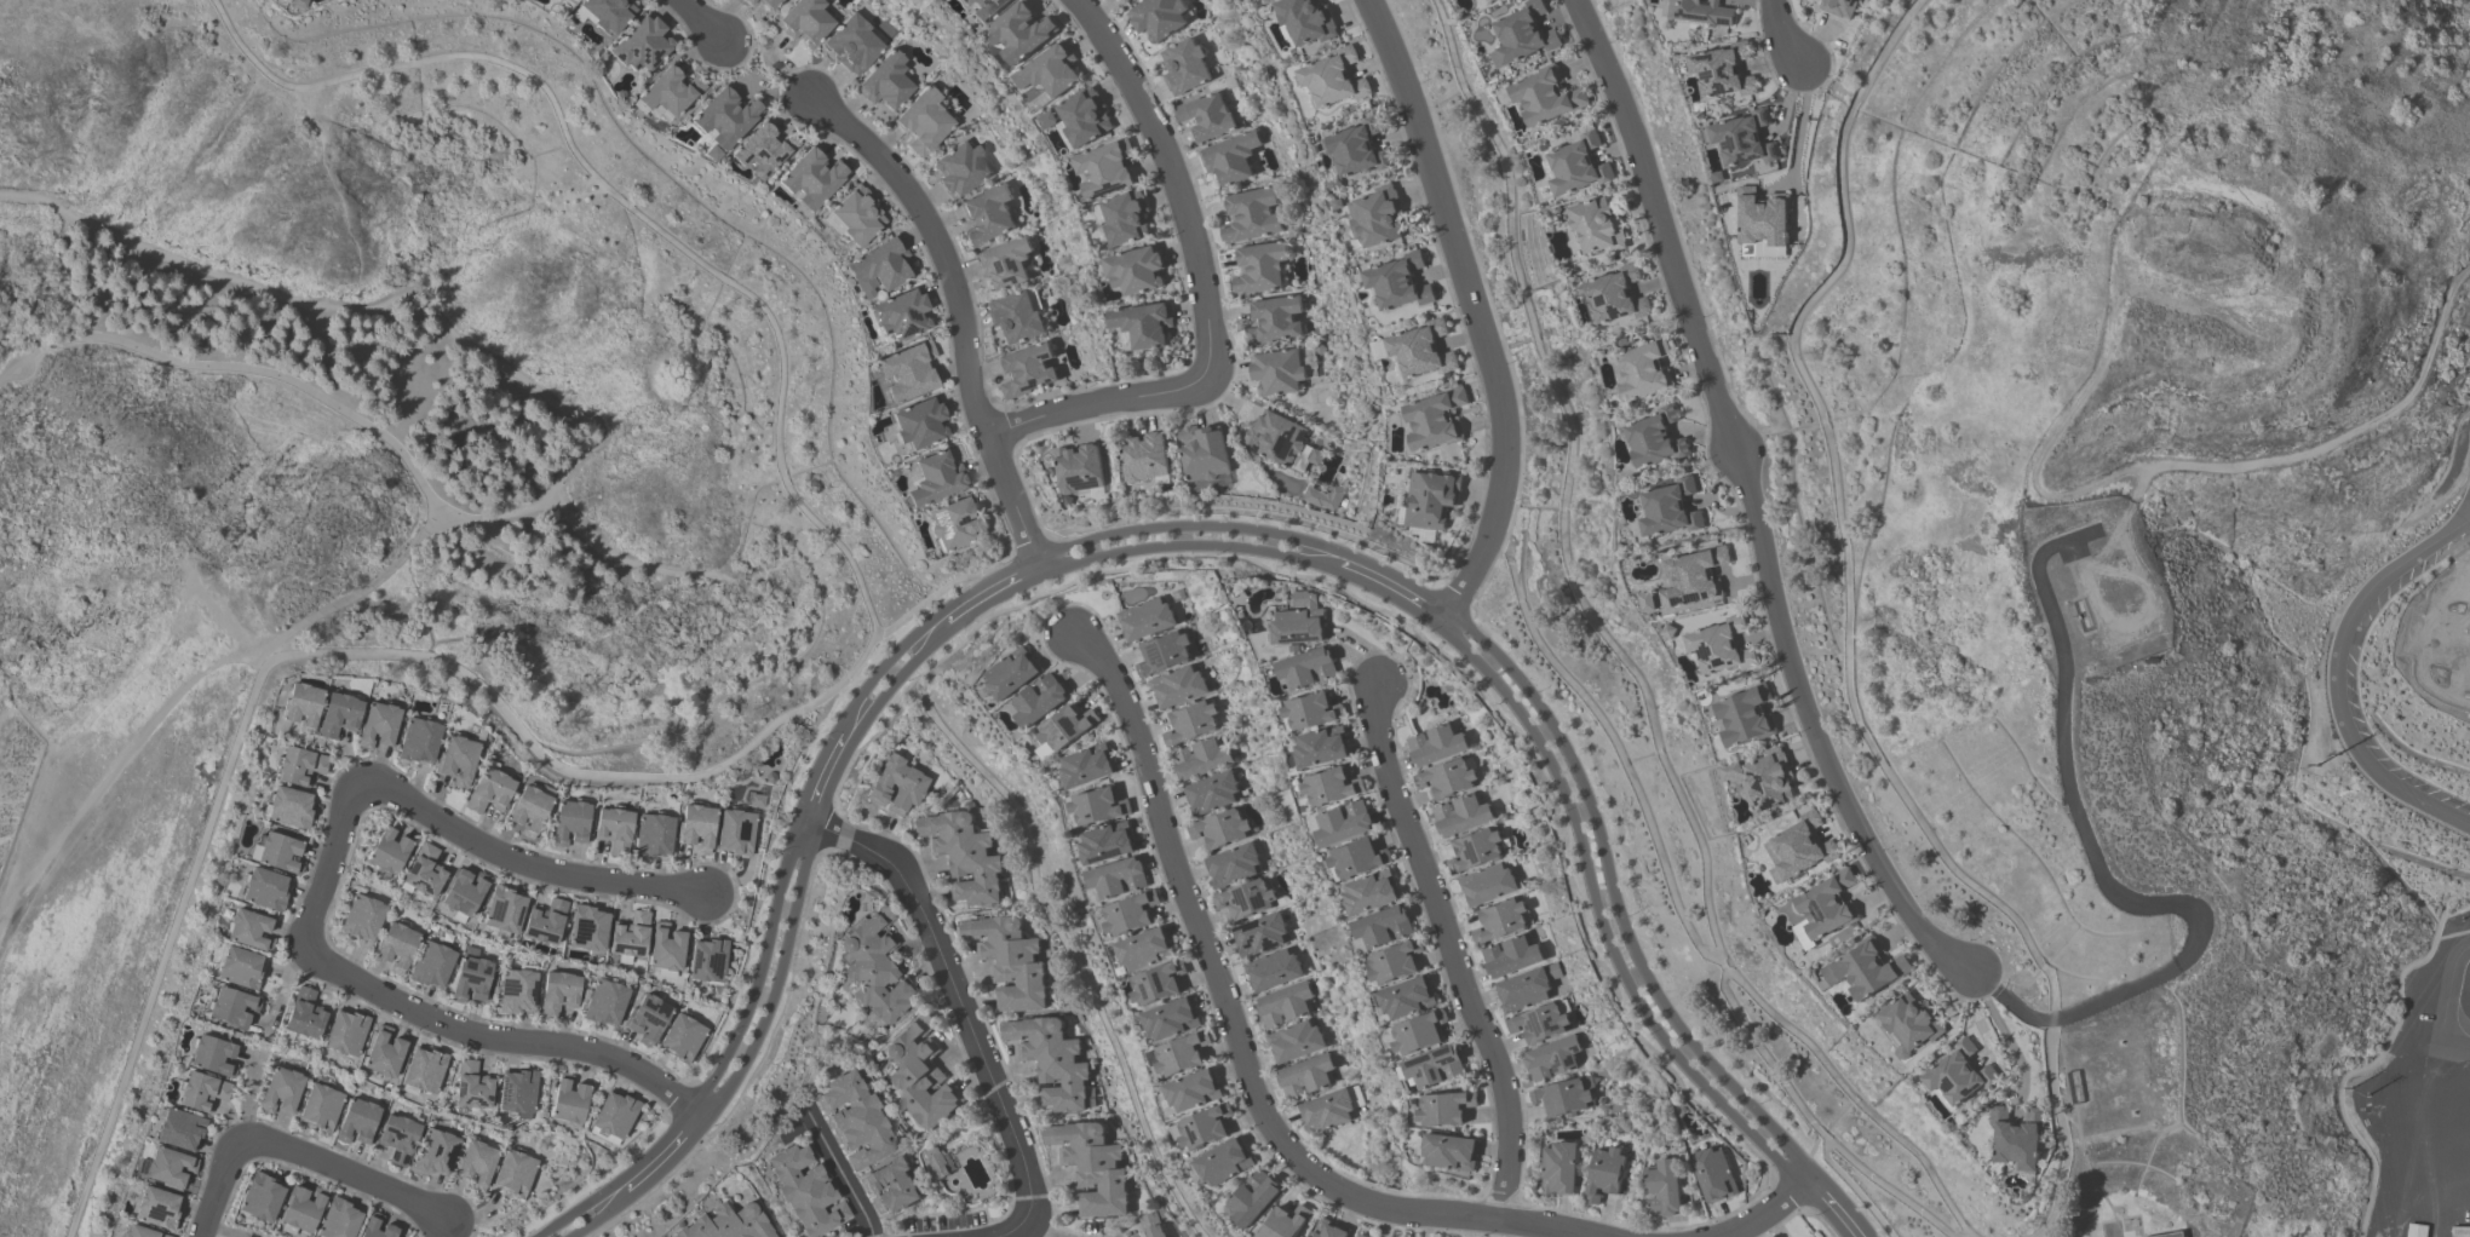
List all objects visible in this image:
building: (743, 0)
building: (1474, 0)
building: (1817, 0)
building: (749, 1)
building: (1126, 1)
building: (297, 2)
building: (770, 4)
building: (1838, 7)
building: (986, 10)
building: (603, 12)
building: (1701, 12)
building: (1158, 17)
building: (1306, 19)
road: (700, 21)
building: (805, 21)
building: (1022, 34)
building: (1523, 35)
road: (1782, 35)
building: (639, 42)
building: (854, 44)
building: (1184, 67)
building: (1721, 68)
building: (1051, 70)
building: (1333, 76)
building: (885, 82)
building: (668, 90)
building: (1545, 94)
building: (724, 115)
building: (1084, 115)
building: (1208, 117)
building: (924, 122)
road: (1802, 127)
building: (1741, 137)
building: (1357, 145)
building: (763, 148)
building: (1230, 157)
building: (1576, 163)
building: (1105, 167)
building: (959, 168)
building: (811, 174)
building: (856, 212)
building: (986, 214)
building: (1377, 214)
building: (1125, 215)
building: (1251, 215)
building: (1763, 220)
building: (1596, 225)
building: (1005, 261)
building: (878, 265)
building: (1259, 267)
building: (1136, 269)
building: (1398, 281)
road: (1201, 289)
road: (395, 294)
building: (1615, 294)
road: (1474, 309)
road: (960, 310)
building: (898, 312)
building: (1017, 315)
building: (1274, 320)
building: (1144, 323)
building: (1421, 349)
road: (24, 361)
building: (908, 369)
building: (1027, 369)
building: (1643, 369)
building: (1277, 372)
road: (272, 373)
building: (1435, 418)
building: (919, 421)
building: (1654, 437)
building: (1282, 441)
park: (294, 444)
building: (1204, 451)
building: (1144, 455)
building: (1079, 467)
building: (935, 476)
building: (1323, 497)
building: (1431, 497)
road: (1750, 501)
building: (1668, 507)
road: (1164, 514)
road: (464, 519)
building: (957, 520)
road: (436, 525)
road: (1190, 537)
building: (1693, 577)
road: (1396, 587)
road: (990, 592)
road: (340, 603)
building: (1145, 618)
building: (1299, 621)
road: (1849, 632)
building: (1719, 645)
road: (1620, 651)
building: (1162, 652)
building: (1306, 667)
building: (1010, 672)
road: (889, 673)
road: (2340, 679)
building: (1177, 686)
building: (1038, 700)
building: (300, 704)
building: (1311, 709)
building: (337, 714)
building: (1745, 714)
road: (786, 719)
building: (1190, 721)
building: (377, 724)
building: (1062, 729)
building: (417, 740)
building: (1436, 743)
building: (1321, 746)
building: (455, 758)
building: (1201, 758)
building: (298, 765)
building: (1085, 765)
building: (1447, 777)
building: (1769, 778)
road: (820, 782)
building: (896, 784)
building: (1331, 784)
road: (2069, 786)
building: (487, 788)
road: (113, 789)
building: (1211, 792)
building: (1096, 805)
building: (288, 806)
building: (527, 809)
building: (1461, 815)
building: (569, 822)
building: (1343, 822)
building: (695, 825)
building: (1220, 828)
building: (613, 829)
building: (735, 830)
building: (651, 835)
building: (1105, 841)
building: (1798, 847)
building: (1475, 848)
building: (386, 850)
building: (276, 852)
building: (963, 855)
building: (1356, 857)
road: (329, 864)
building: (1231, 864)
road: (523, 868)
building: (421, 871)
building: (1118, 876)
building: (1486, 884)
building: (264, 888)
building: (1371, 891)
building: (461, 893)
building: (1246, 898)
building: (1825, 908)
road: (1608, 909)
building: (502, 911)
building: (1130, 913)
building: (361, 919)
building: (1499, 920)
building: (542, 921)
road: (1683, 921)
building: (1383, 925)
building: (587, 928)
building: (248, 930)
building: (1259, 933)
building: (628, 937)
road: (1062, 942)
building: (395, 947)
building: (1144, 948)
building: (666, 949)
road: (1449, 949)
building: (1510, 955)
building: (706, 960)
building: (1395, 960)
building: (1009, 961)
building: (430, 965)
building: (872, 966)
building: (239, 967)
building: (1273, 970)
building: (1866, 971)
building: (470, 977)
road: (764, 980)
building: (1158, 982)
building: (1526, 988)
building: (515, 990)
building: (557, 993)
road: (950, 994)
building: (1406, 996)
road: (2445, 1001)
building: (603, 1002)
building: (1285, 1005)
building: (231, 1007)
building: (303, 1014)
building: (645, 1018)
building: (1170, 1018)
building: (1539, 1023)
building: (1908, 1026)
building: (1419, 1031)
building: (344, 1032)
building: (680, 1037)
road: (1236, 1038)
road: (496, 1040)
road: (2006, 1040)
building: (1294, 1041)
building: (383, 1052)
building: (1179, 1053)
building: (212, 1055)
building: (1552, 1058)
building: (1051, 1060)
building: (1435, 1065)
building: (423, 1069)
building: (919, 1072)
building: (1306, 1076)
building: (1957, 1077)
building: (470, 1086)
building: (1193, 1089)
building: (281, 1091)
building: (201, 1092)
building: (516, 1092)
building: (1564, 1097)
building: (568, 1100)
building: (320, 1107)
building: (1444, 1107)
building: (1329, 1109)
building: (611, 1117)
building: (855, 1120)
building: (356, 1121)
building: (1202, 1127)
building: (178, 1129)
building: (397, 1138)
building: (2016, 1140)
building: (1451, 1150)
building: (433, 1152)
road: (662, 1156)
building: (1223, 1162)
building: (475, 1163)
building: (166, 1167)
building: (1091, 1167)
building: (1559, 1168)
road: (840, 1172)
building: (513, 1173)
building: (1604, 1174)
building: (1713, 1174)
road: (346, 1175)
building: (891, 1186)
road: (220, 1187)
building: (1662, 1187)
building: (804, 1190)
building: (260, 1197)
building: (1253, 1197)
building: (156, 1207)
road: (1829, 1208)
building: (300, 1209)
road: (592, 1213)
road: (1770, 1214)
building: (338, 1219)
building: (1285, 1222)
building: (370, 1224)
building: (726, 1224)
building: (1151, 1225)
road: (1022, 1229)
road: (1046, 1229)
building: (1329, 1229)
building: (139, 1232)
building: (2417, 1232)
building: (2460, 1232)
road: (216, 1233)
building: (1137, 1236)
building: (1362, 1236)

